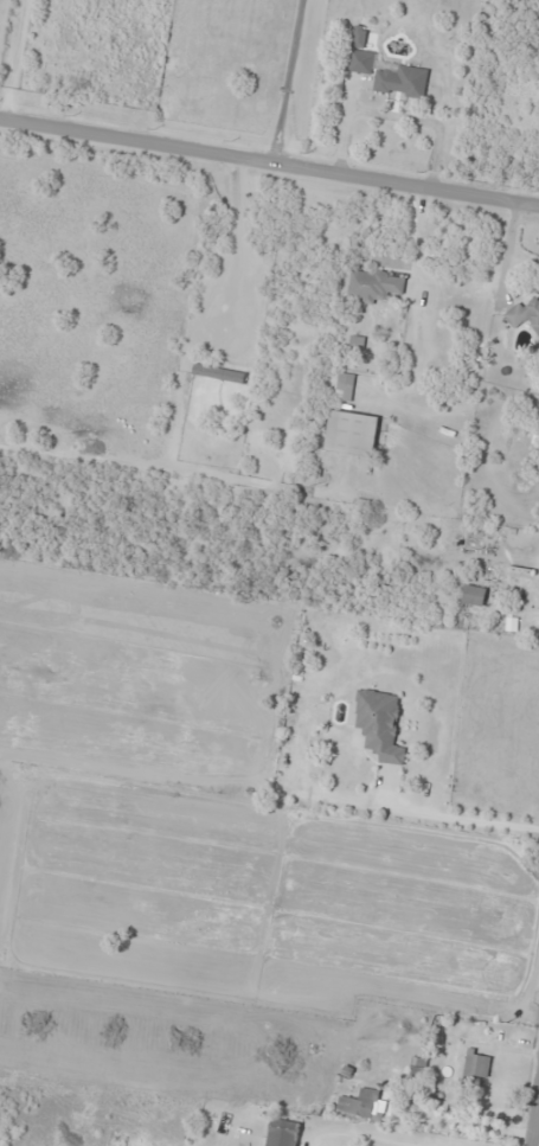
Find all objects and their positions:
building: (387, 70)
road: (269, 164)
building: (377, 284)
building: (524, 315)
building: (345, 385)
building: (352, 433)
building: (474, 594)
building: (380, 724)
building: (477, 1063)
building: (357, 1107)
road: (534, 1116)
building: (282, 1131)

